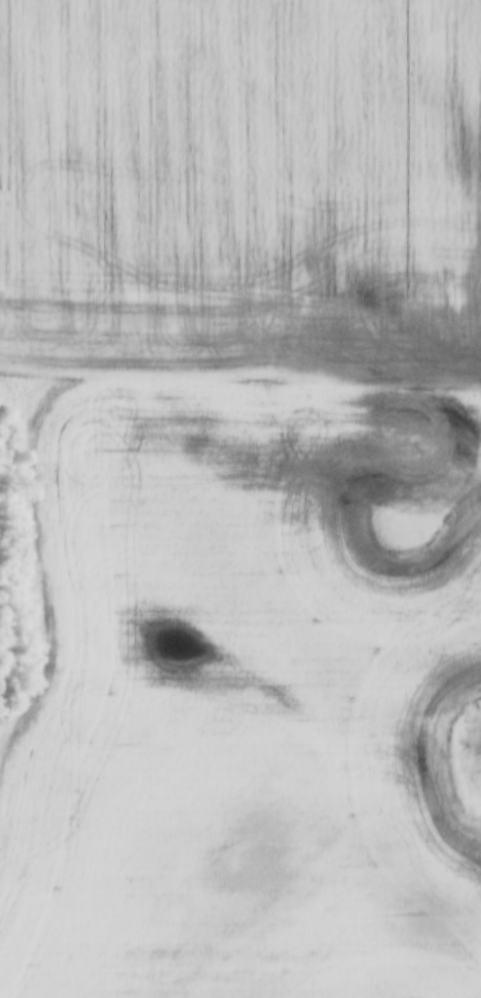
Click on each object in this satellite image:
building: (237, 284)
building: (117, 285)
building: (177, 287)

